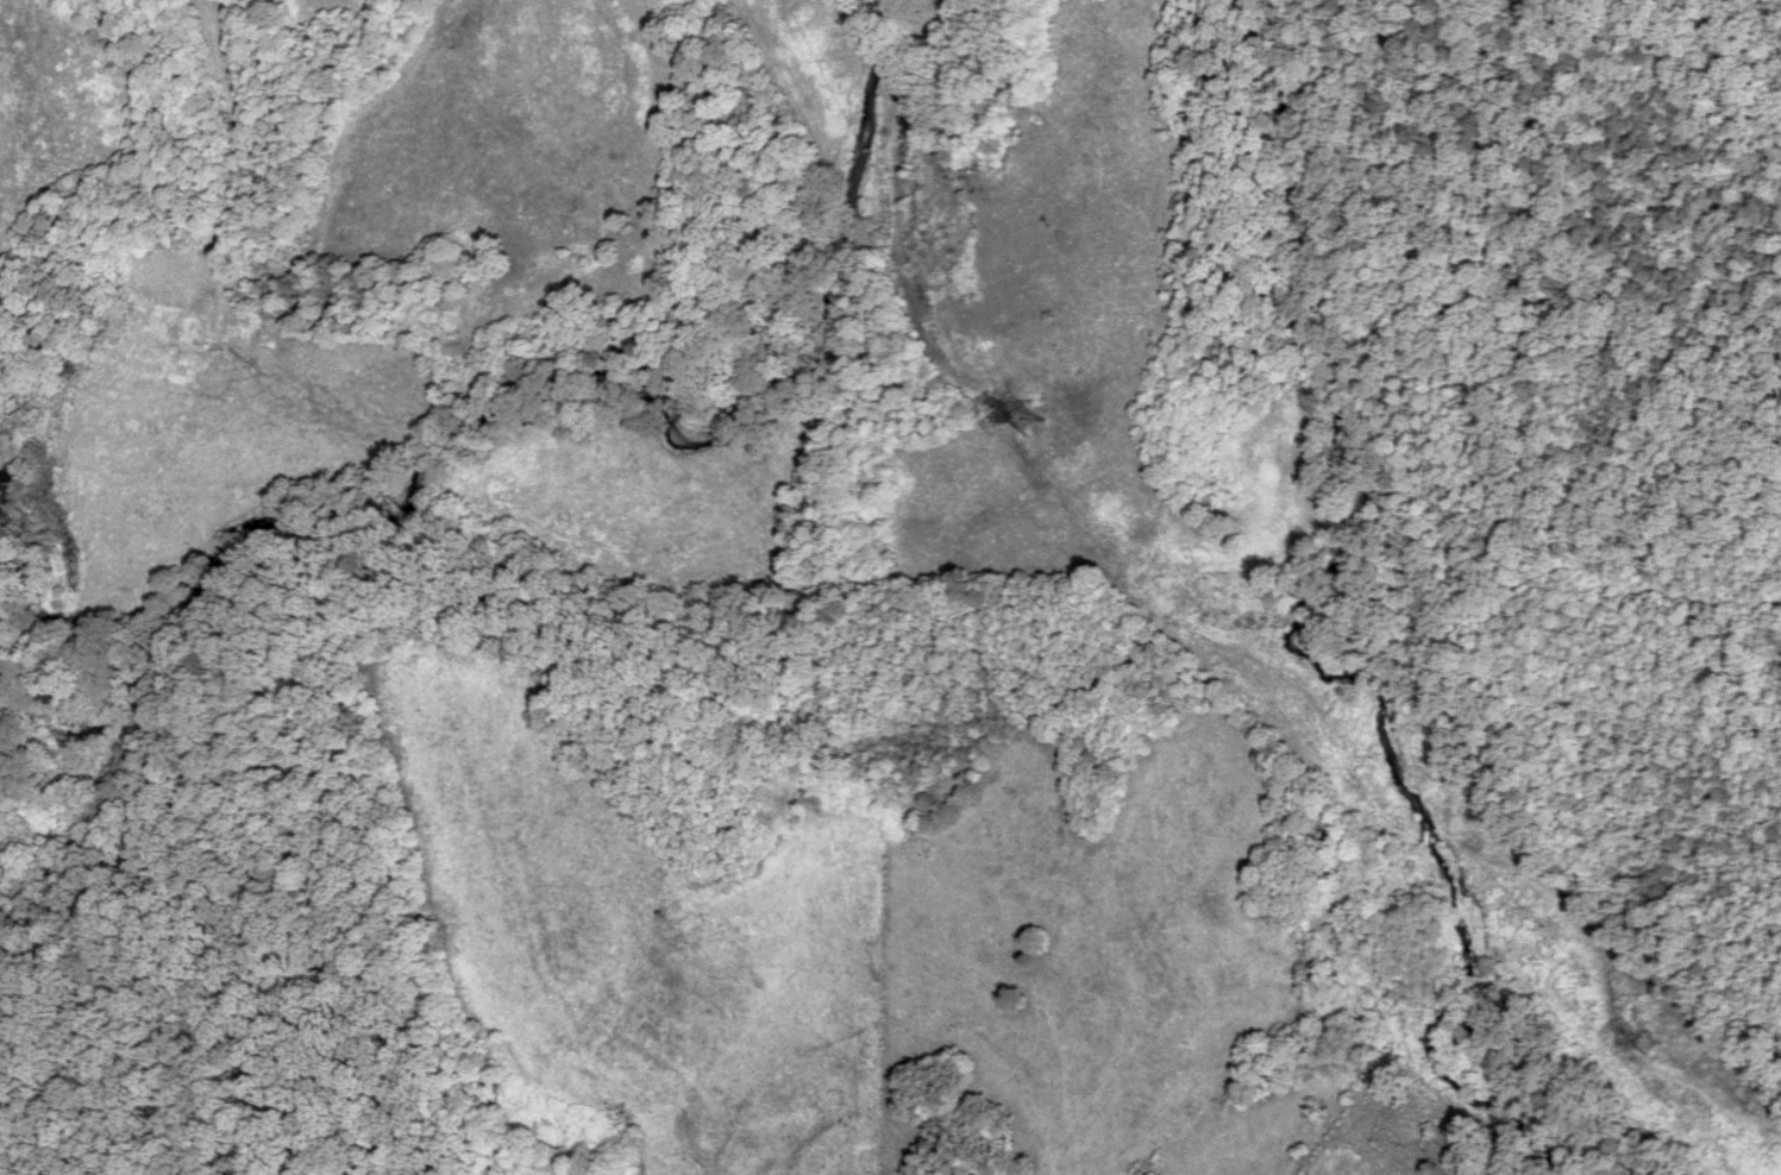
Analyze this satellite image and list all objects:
power tower: (1031, 421)
power tower: (1648, 1043)

